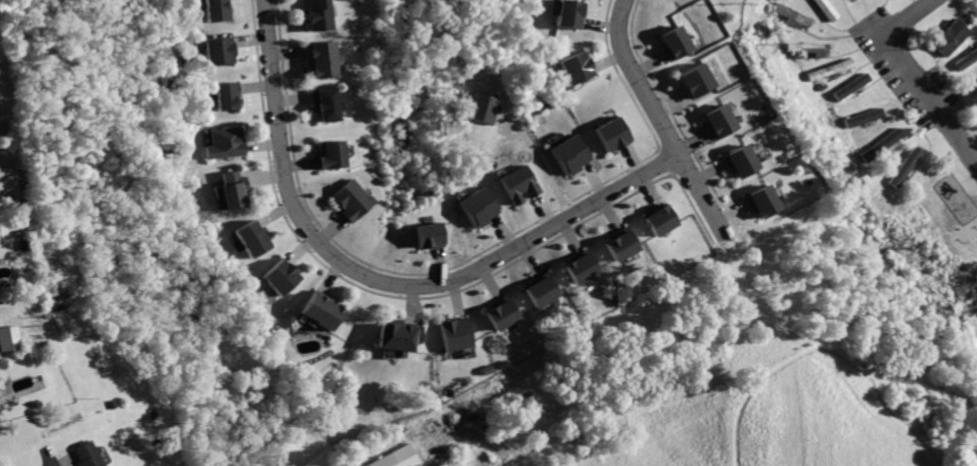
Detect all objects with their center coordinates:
building: (824, 9)
building: (215, 10)
building: (568, 13)
building: (793, 14)
building: (316, 15)
road: (907, 18)
building: (948, 38)
building: (674, 42)
building: (810, 48)
building: (216, 51)
building: (323, 58)
building: (965, 58)
building: (574, 67)
building: (830, 69)
building: (697, 80)
building: (851, 87)
building: (975, 87)
building: (227, 97)
road: (930, 99)
building: (324, 104)
building: (483, 108)
building: (864, 117)
road: (661, 119)
building: (719, 121)
building: (611, 133)
building: (225, 142)
building: (882, 144)
building: (569, 155)
building: (330, 156)
building: (740, 160)
road: (541, 161)
building: (903, 171)
building: (520, 183)
building: (231, 191)
building: (762, 201)
building: (348, 202)
building: (479, 207)
building: (658, 220)
building: (428, 235)
building: (250, 240)
building: (620, 246)
building: (582, 265)
building: (277, 278)
road: (382, 283)
building: (542, 289)
building: (503, 312)
building: (316, 313)
building: (454, 333)
building: (396, 337)
building: (8, 339)
building: (86, 455)
building: (395, 458)
road: (64, 461)

